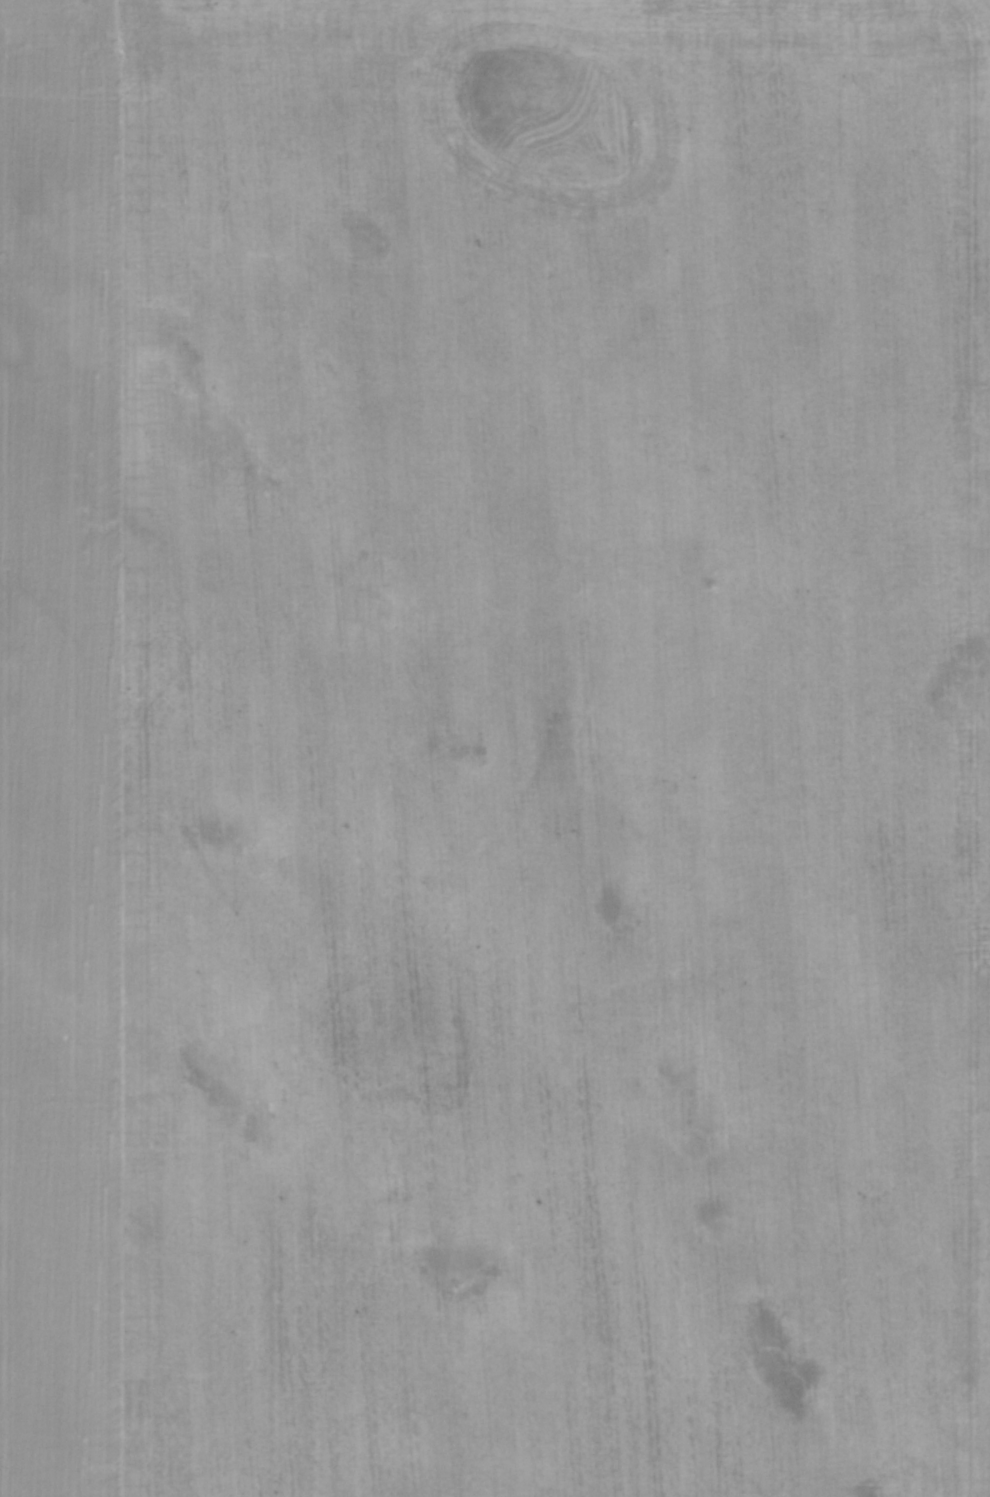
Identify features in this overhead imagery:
crop: (494, 748)

